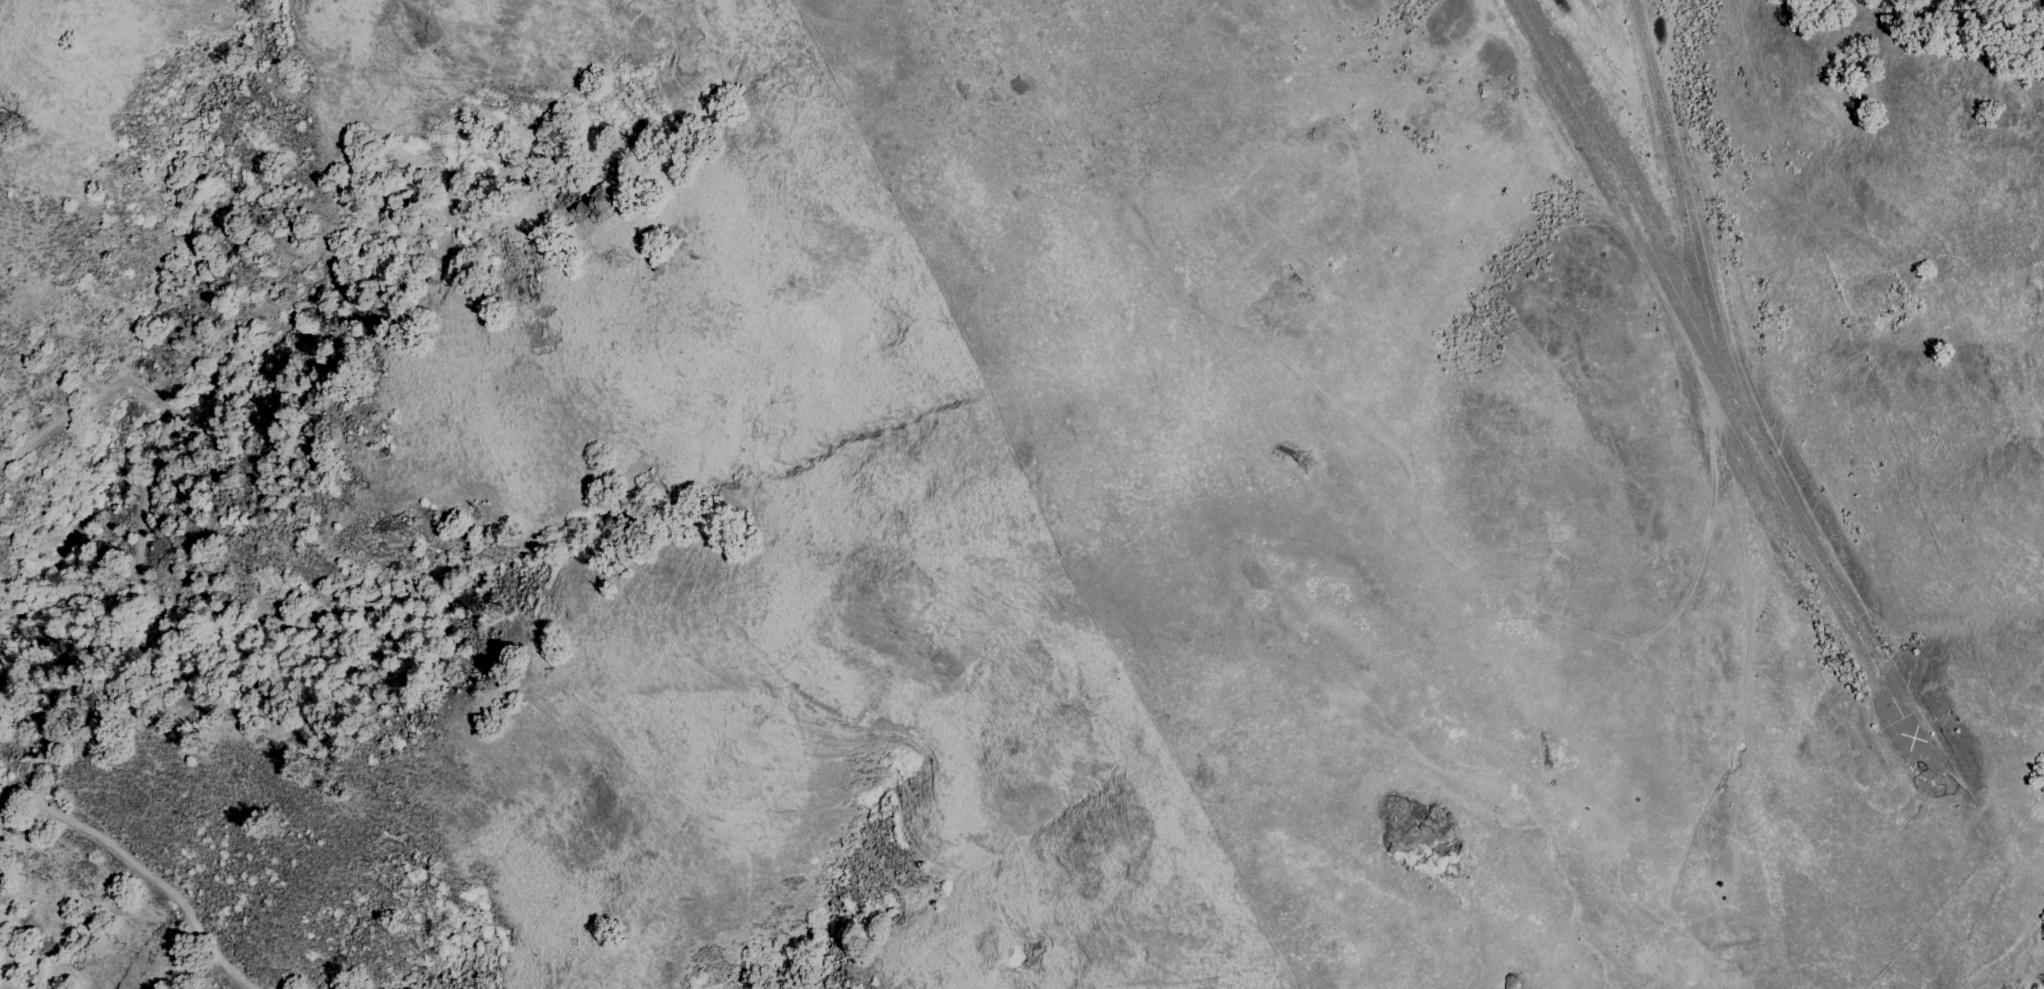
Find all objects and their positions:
airport taxiway: (1680, 174)
airport runway: (1731, 396)
road: (1379, 441)
power tower: (1315, 465)

